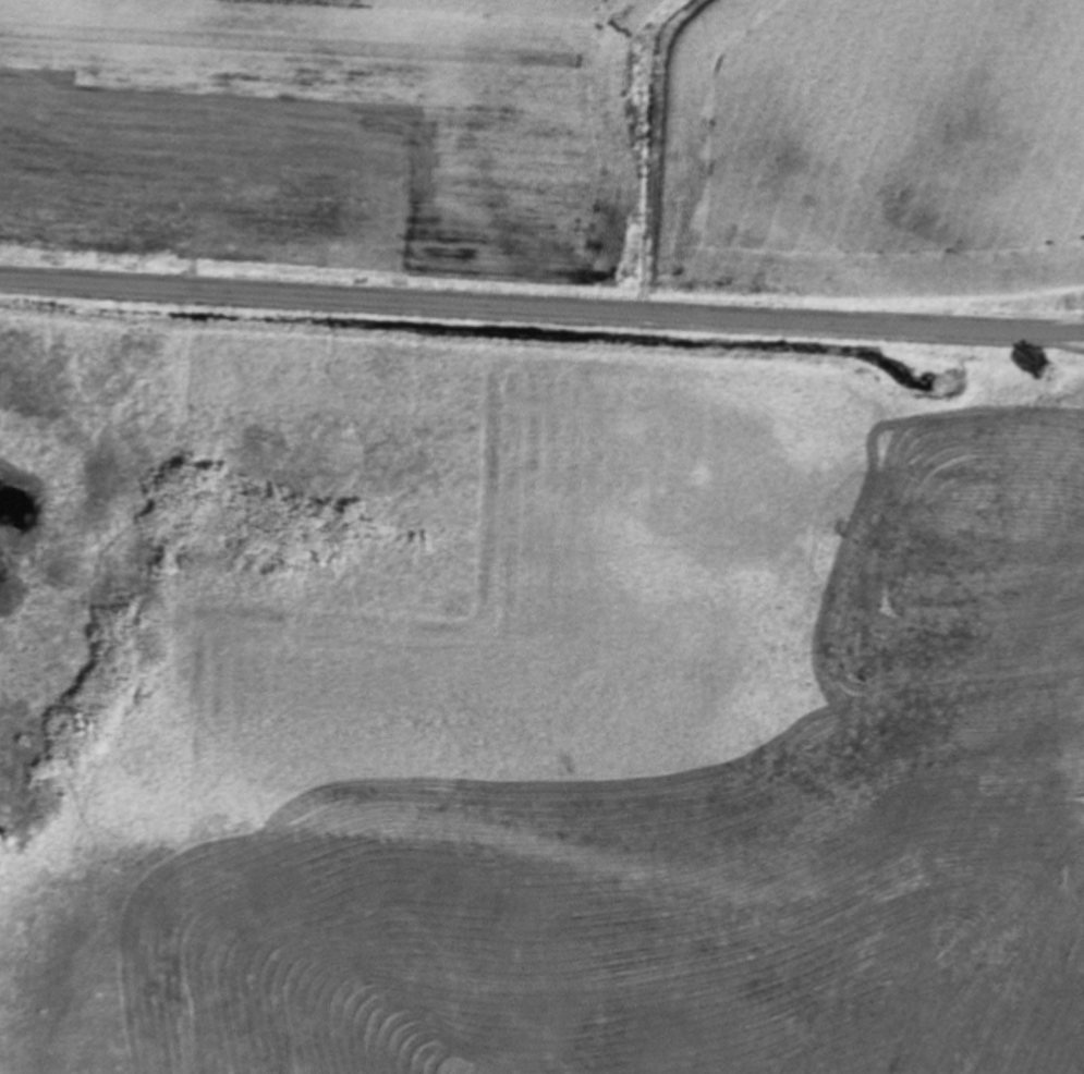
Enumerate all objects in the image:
road: (541, 307)

